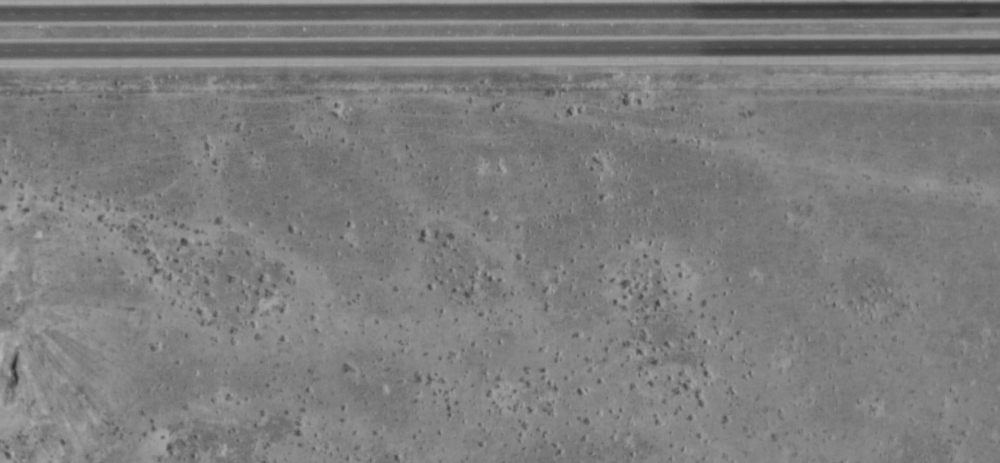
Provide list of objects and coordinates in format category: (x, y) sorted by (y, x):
road: (500, 11)
road: (500, 48)

